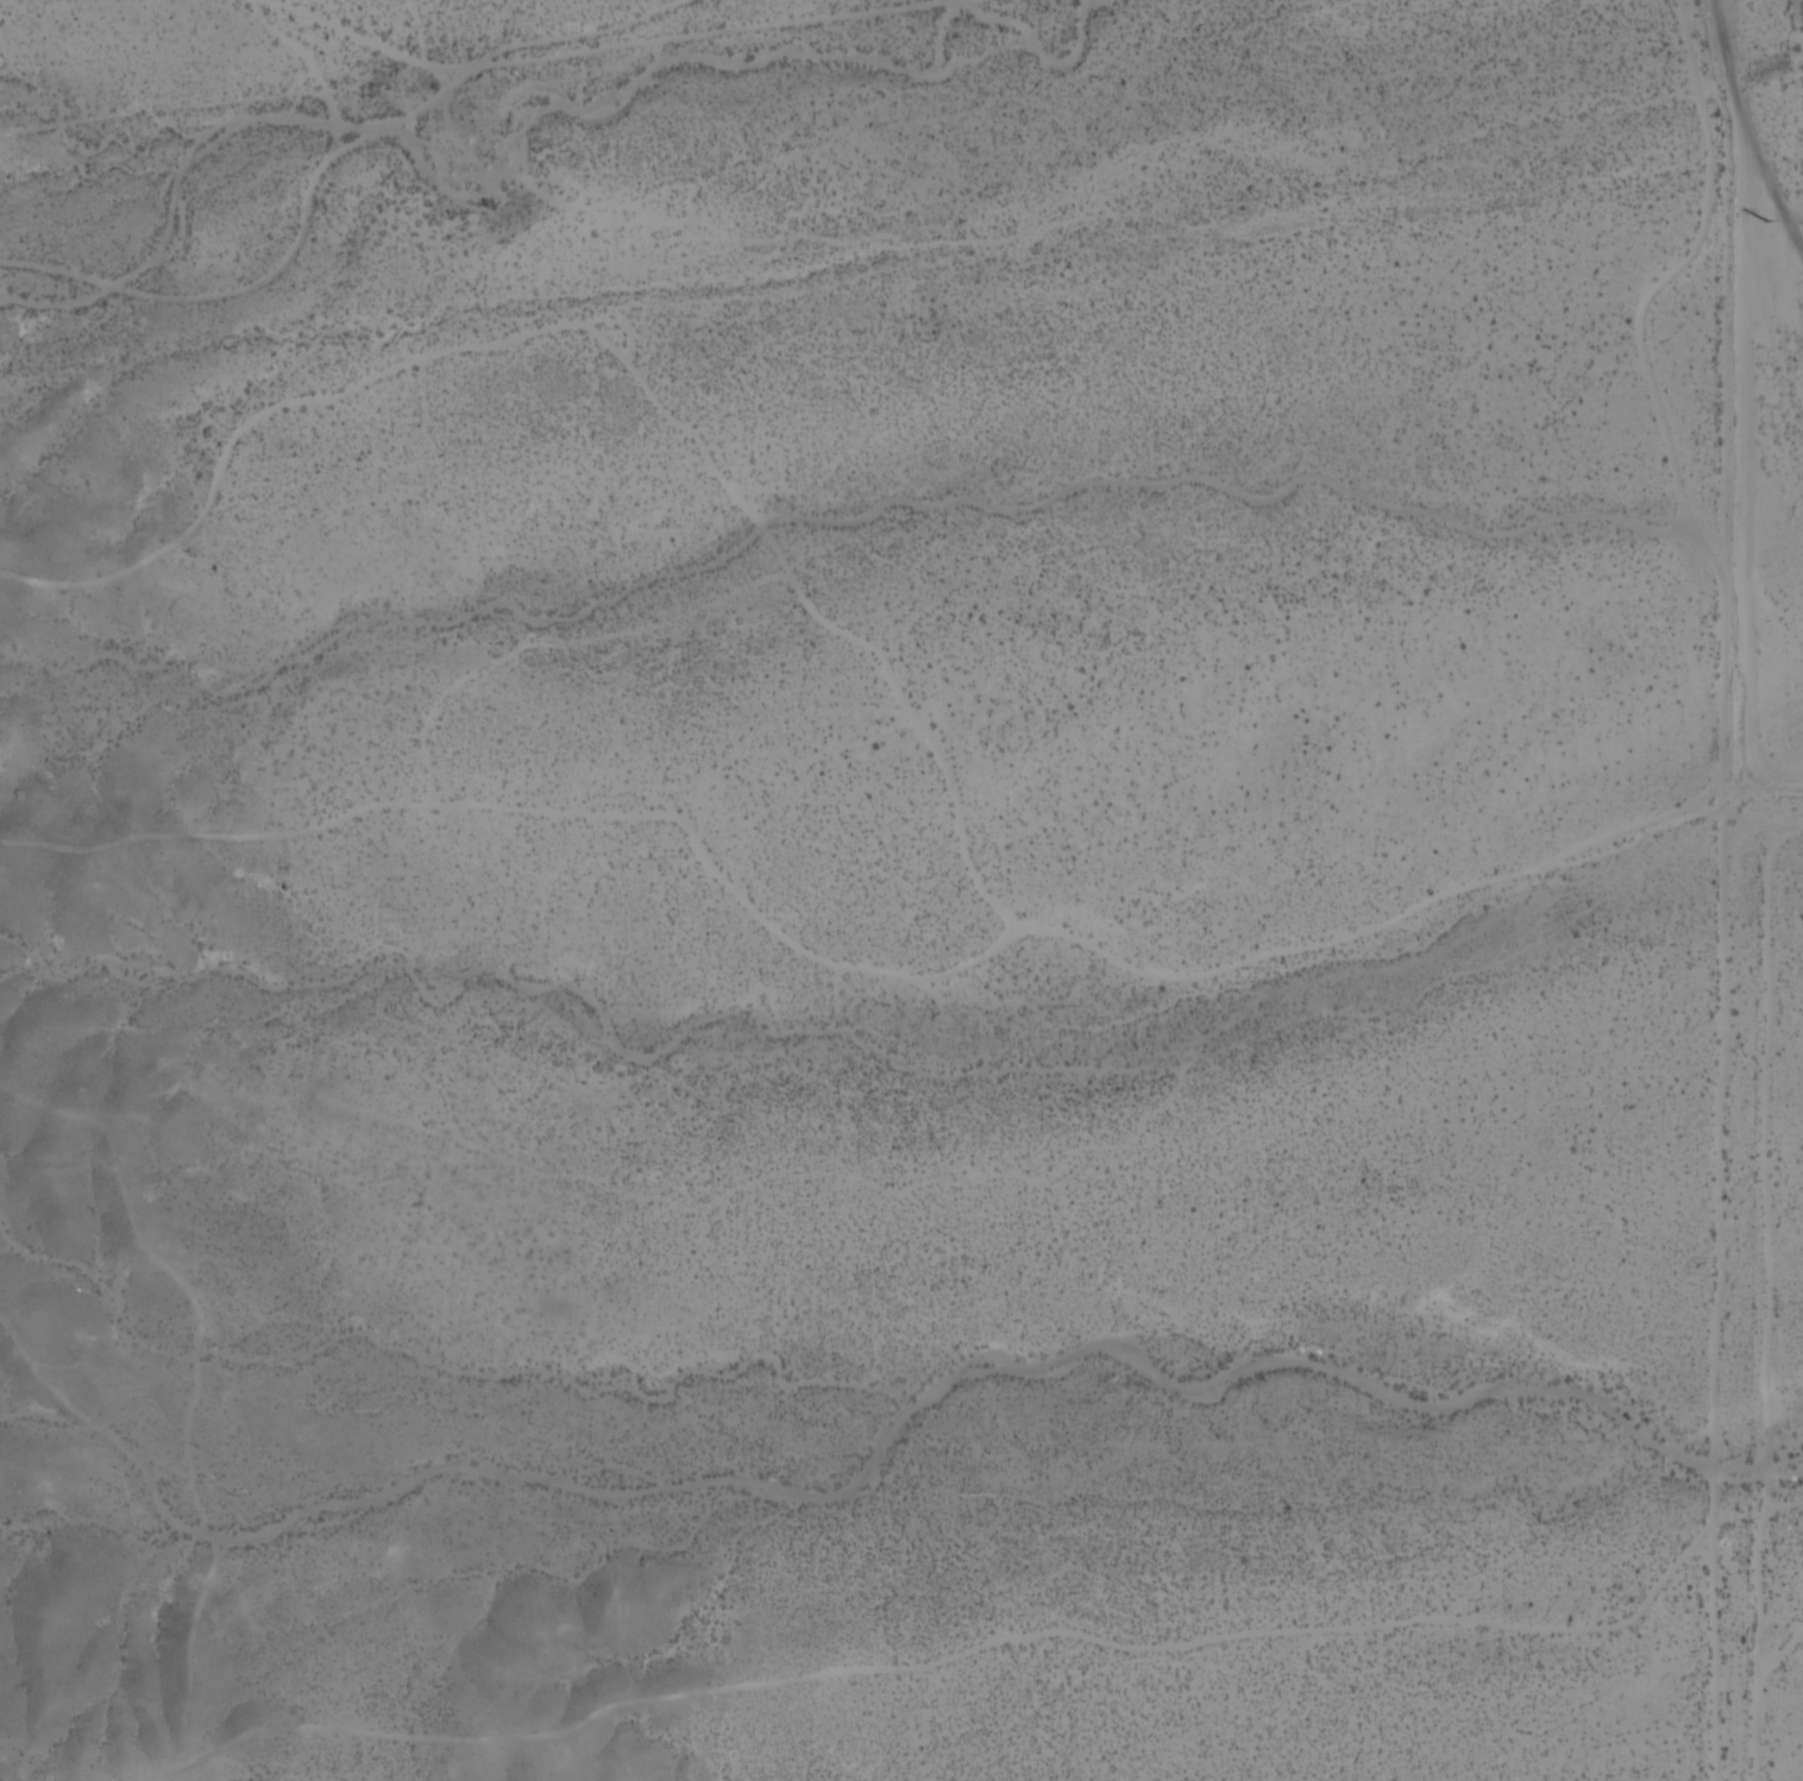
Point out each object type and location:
power tower: (1767, 221)

